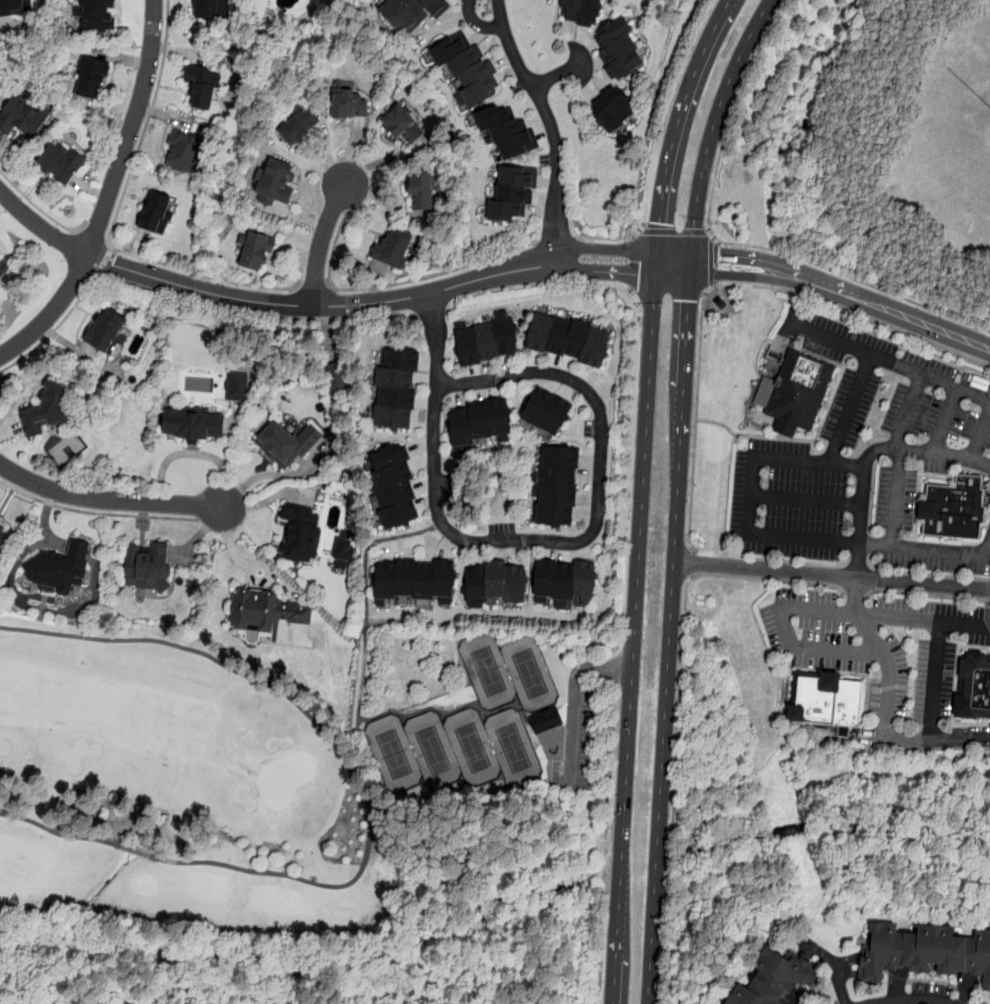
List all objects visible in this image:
building: (14, 7)
building: (211, 9)
building: (580, 12)
building: (413, 14)
building: (96, 16)
road: (477, 23)
building: (619, 49)
building: (467, 69)
road: (557, 76)
building: (91, 78)
building: (202, 86)
building: (350, 106)
building: (612, 109)
building: (23, 115)
road: (714, 121)
building: (402, 124)
road: (550, 125)
building: (297, 126)
building: (506, 129)
road: (130, 130)
road: (679, 131)
building: (185, 151)
building: (59, 162)
building: (276, 183)
building: (422, 189)
building: (513, 194)
road: (39, 208)
building: (156, 211)
road: (114, 220)
traffic signals: (663, 224)
road: (40, 227)
road: (675, 231)
road: (94, 235)
road: (613, 238)
road: (556, 239)
road: (731, 243)
road: (320, 244)
building: (395, 248)
road: (606, 249)
building: (256, 252)
road: (675, 252)
traffic signals: (718, 255)
road: (739, 256)
road: (104, 260)
road: (711, 260)
building: (2, 269)
road: (606, 271)
traffic signals: (639, 272)
road: (720, 273)
road: (397, 284)
road: (721, 284)
road: (315, 288)
traffic signals: (688, 301)
road: (322, 305)
road: (888, 309)
road: (52, 313)
road: (54, 329)
building: (106, 330)
building: (568, 337)
road: (436, 340)
building: (485, 340)
road: (889, 364)
building: (237, 386)
building: (396, 389)
building: (802, 391)
building: (47, 411)
building: (546, 411)
road: (850, 411)
building: (479, 422)
road: (948, 423)
building: (193, 424)
road: (981, 437)
building: (286, 444)
road: (901, 460)
building: (395, 485)
building: (557, 486)
road: (864, 492)
road: (107, 501)
road: (808, 501)
building: (955, 510)
road: (96, 513)
building: (301, 533)
road: (780, 537)
building: (4, 538)
road: (232, 539)
road: (519, 540)
building: (343, 552)
road: (692, 563)
building: (147, 567)
building: (55, 569)
road: (832, 577)
building: (564, 579)
road: (768, 579)
road: (255, 580)
building: (413, 581)
building: (494, 584)
building: (265, 611)
road: (821, 612)
road: (367, 616)
road: (670, 628)
road: (634, 637)
park: (489, 673)
park: (531, 675)
building: (977, 689)
building: (829, 700)
road: (575, 705)
road: (451, 714)
building: (548, 723)
road: (331, 734)
road: (920, 741)
road: (961, 741)
park: (474, 749)
park: (515, 750)
park: (434, 752)
park: (395, 755)
park: (174, 787)
road: (675, 789)
road: (58, 833)
building: (929, 951)
road: (602, 955)
building: (774, 976)
road: (910, 1003)

